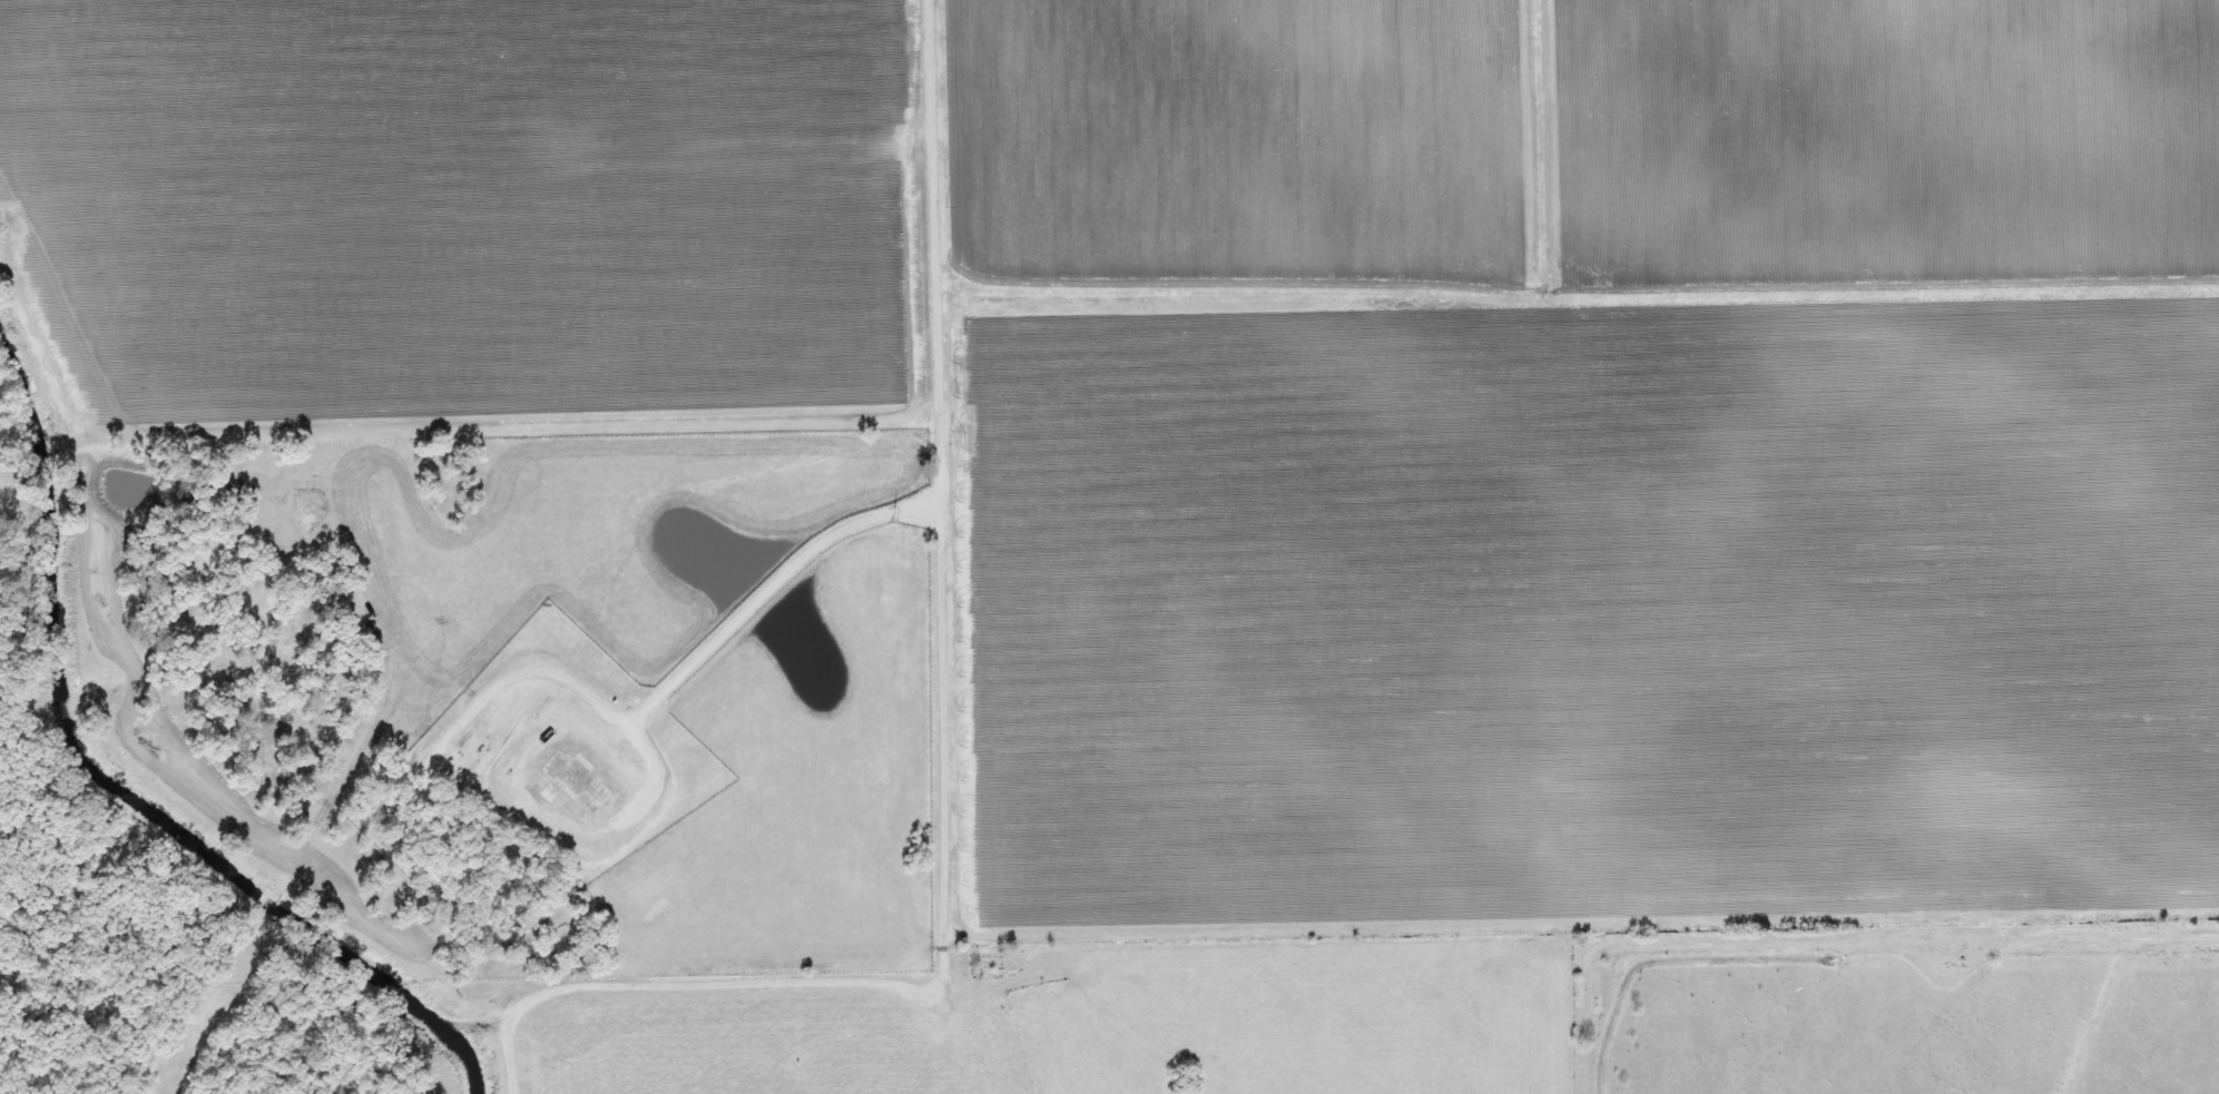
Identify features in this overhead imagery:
road: (933, 751)

